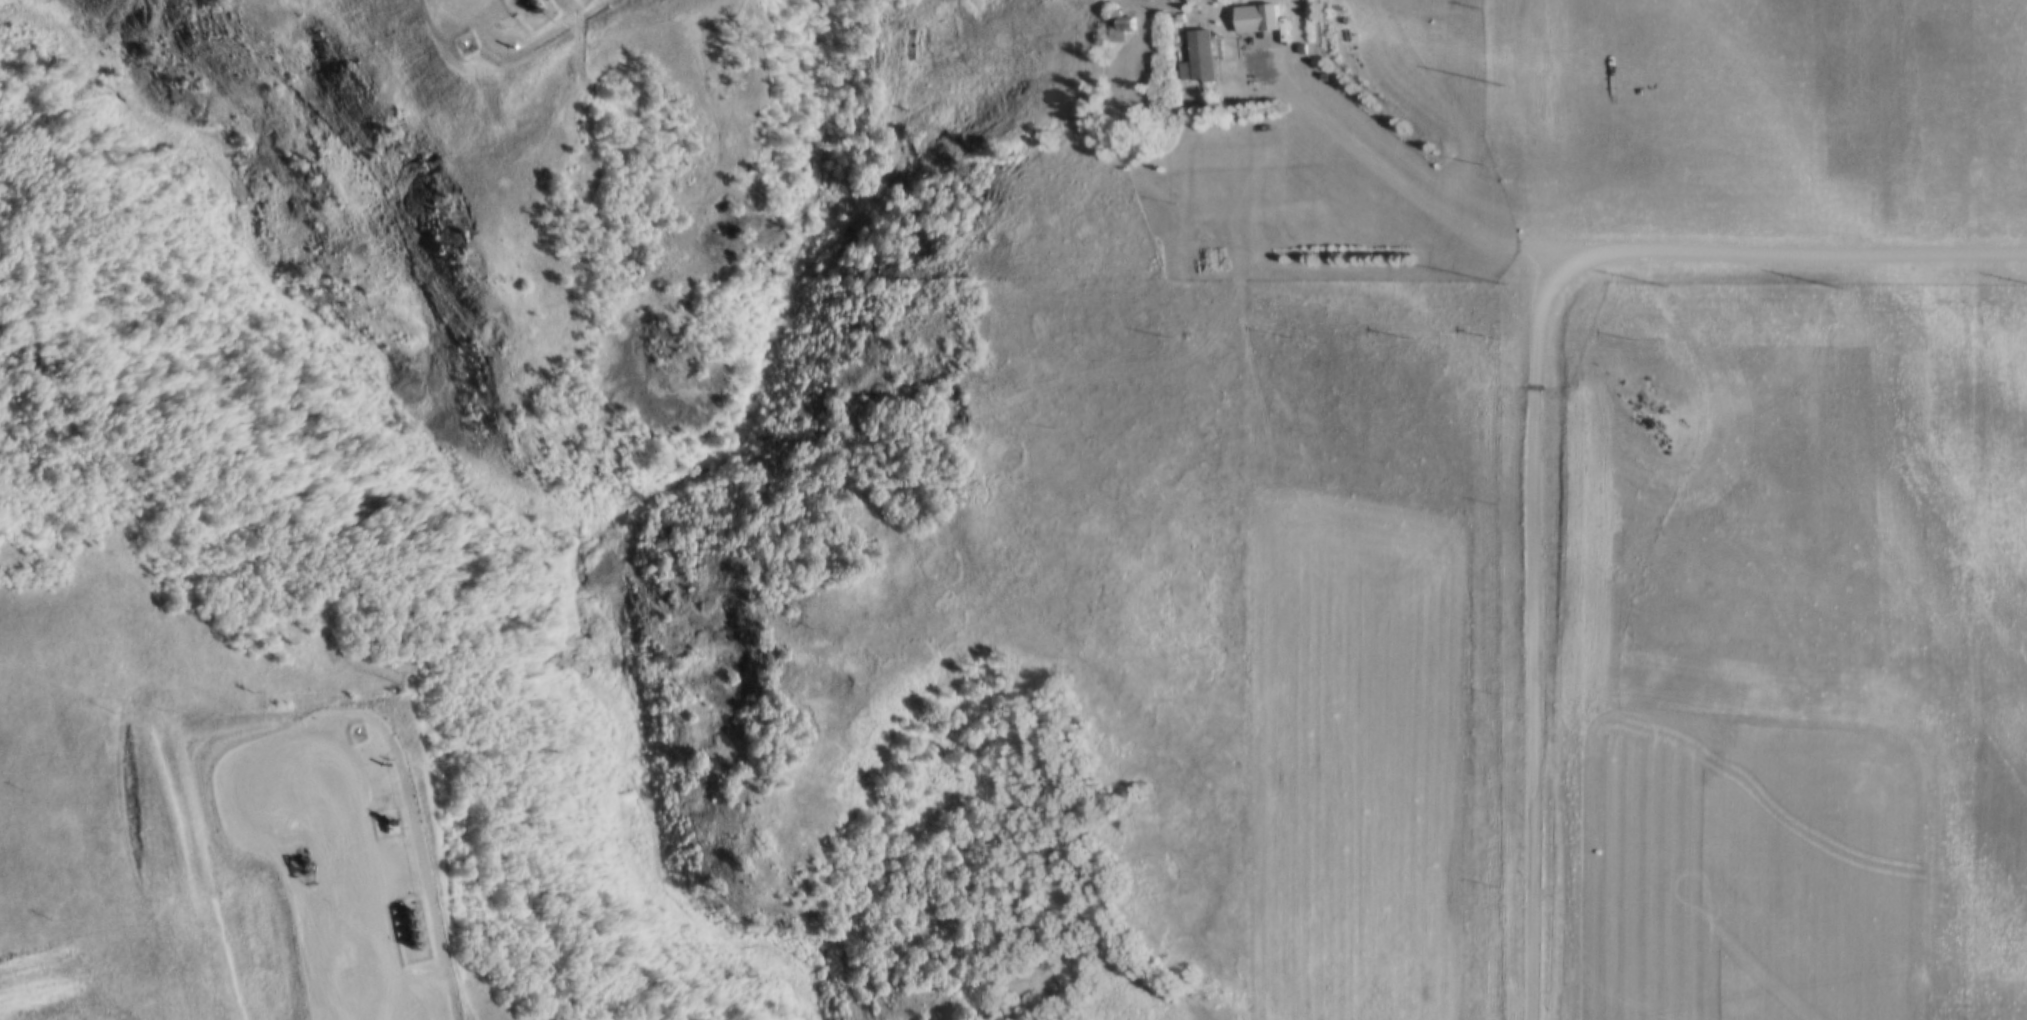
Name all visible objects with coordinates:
building: (1117, 25)
building: (1194, 62)
road: (1380, 173)
road: (1785, 253)
road: (1527, 633)

